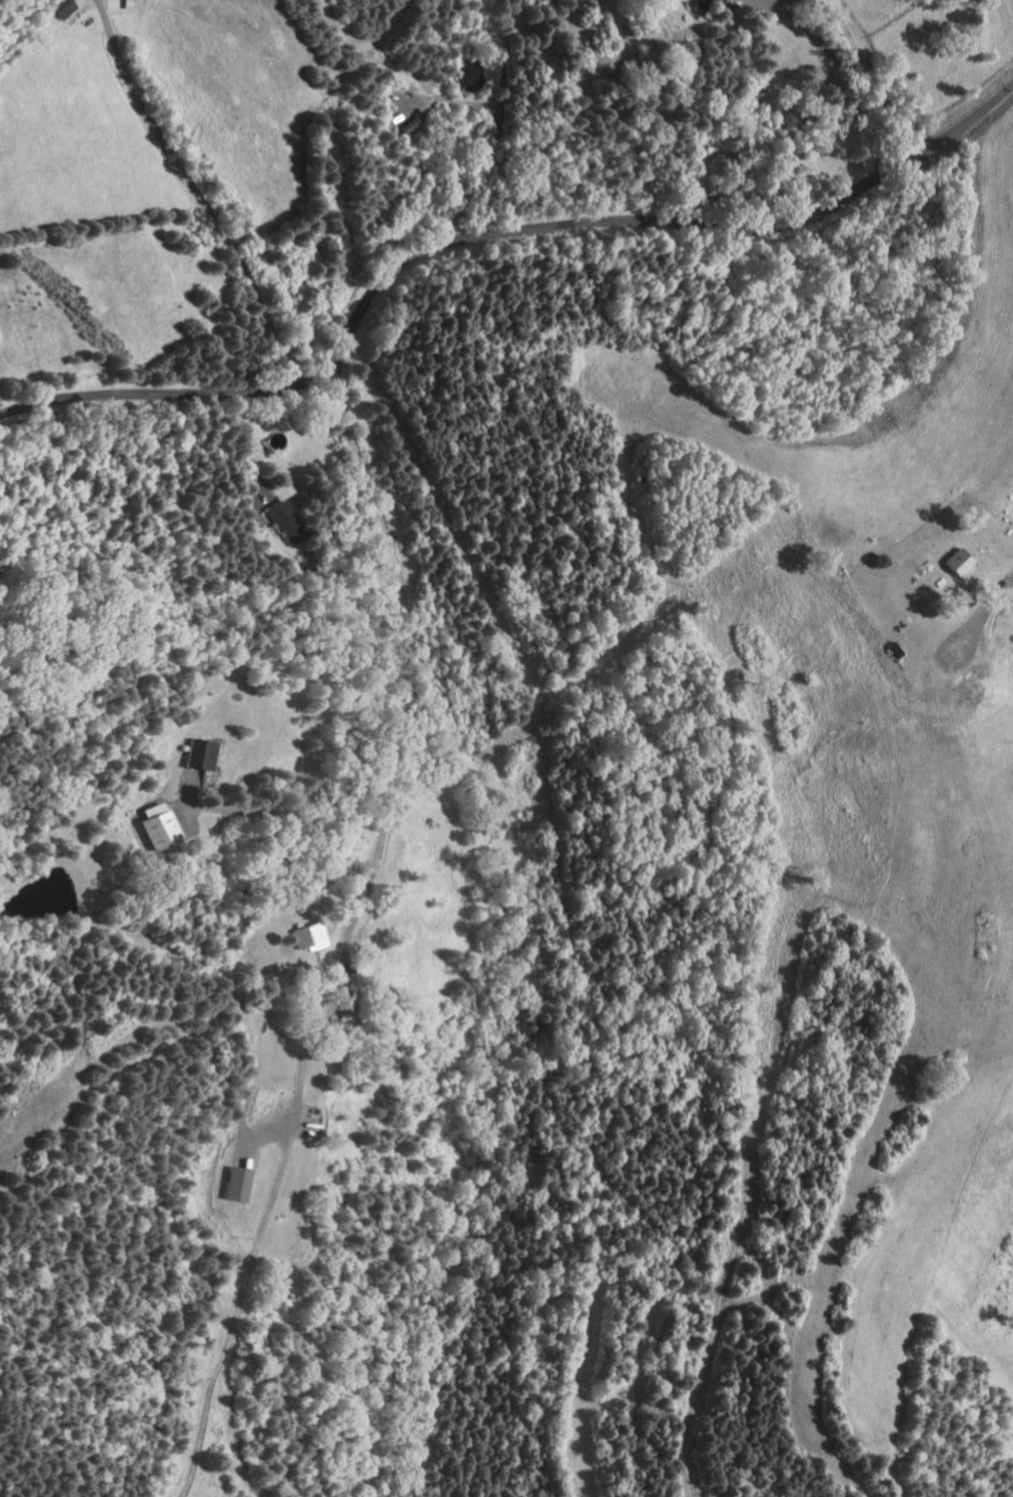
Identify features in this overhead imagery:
road: (749, 2)
building: (700, 4)
building: (63, 9)
road: (846, 75)
road: (874, 77)
road: (508, 129)
building: (699, 142)
road: (705, 171)
road: (197, 192)
road: (492, 232)
road: (248, 446)
building: (285, 522)
building: (955, 562)
road: (393, 569)
road: (998, 591)
building: (895, 649)
road: (941, 666)
building: (199, 754)
road: (210, 778)
building: (421, 789)
road: (188, 797)
road: (297, 814)
building: (162, 826)
building: (307, 935)
road: (324, 980)
building: (271, 985)
building: (349, 1000)
building: (238, 1182)
road: (235, 1310)

